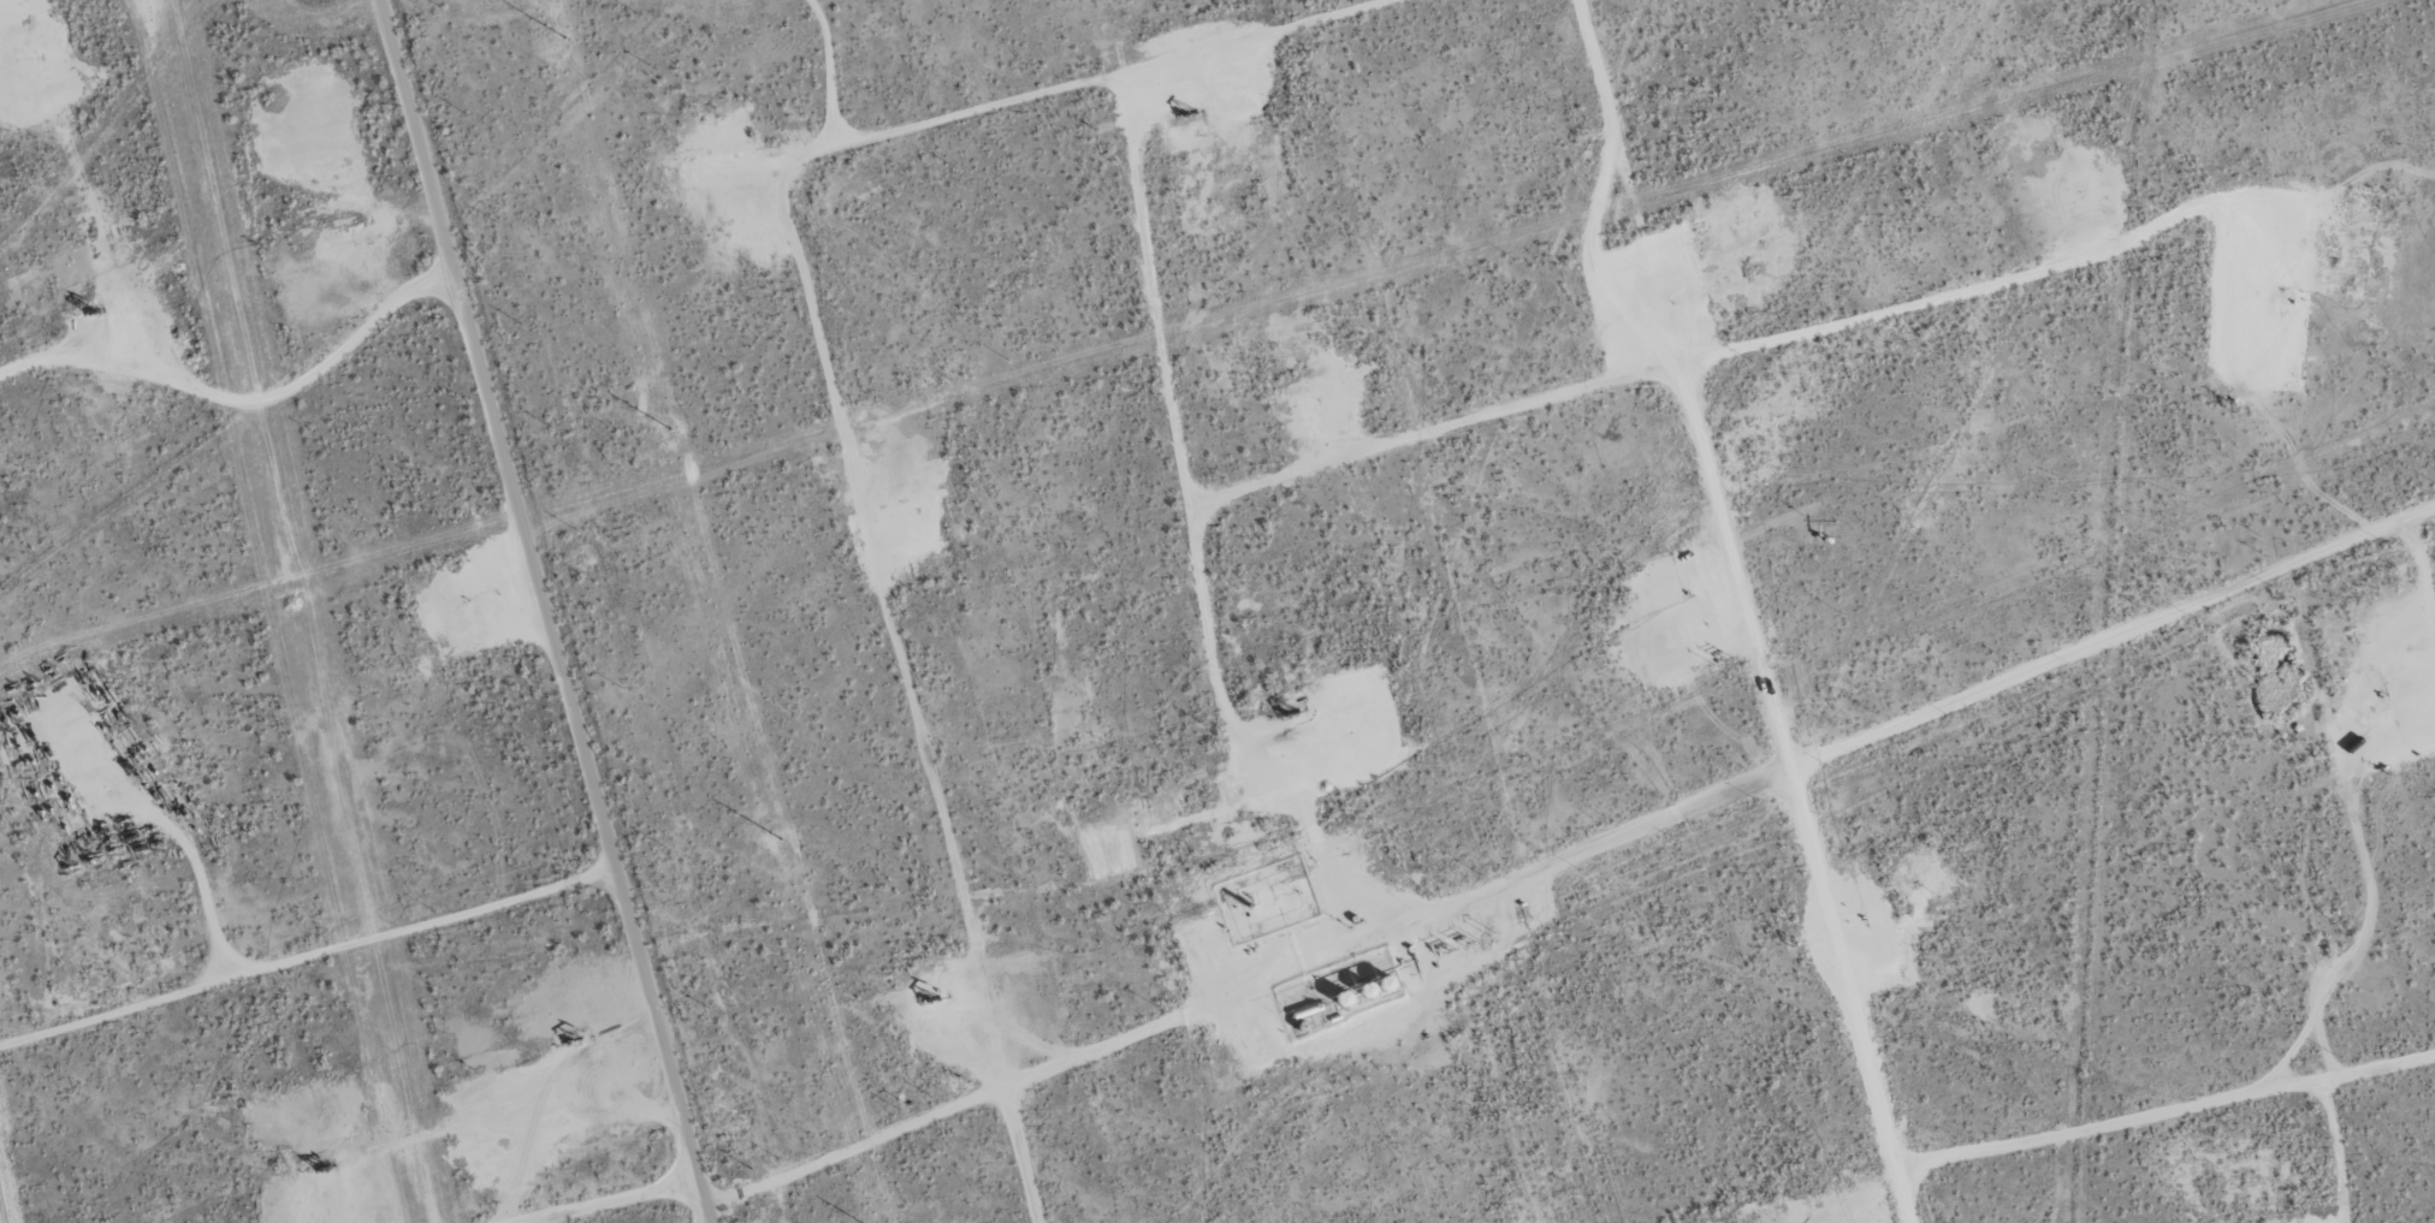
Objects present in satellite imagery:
power tower: (549, 11)
power tower: (666, 440)
road: (546, 611)
power tower: (781, 871)

